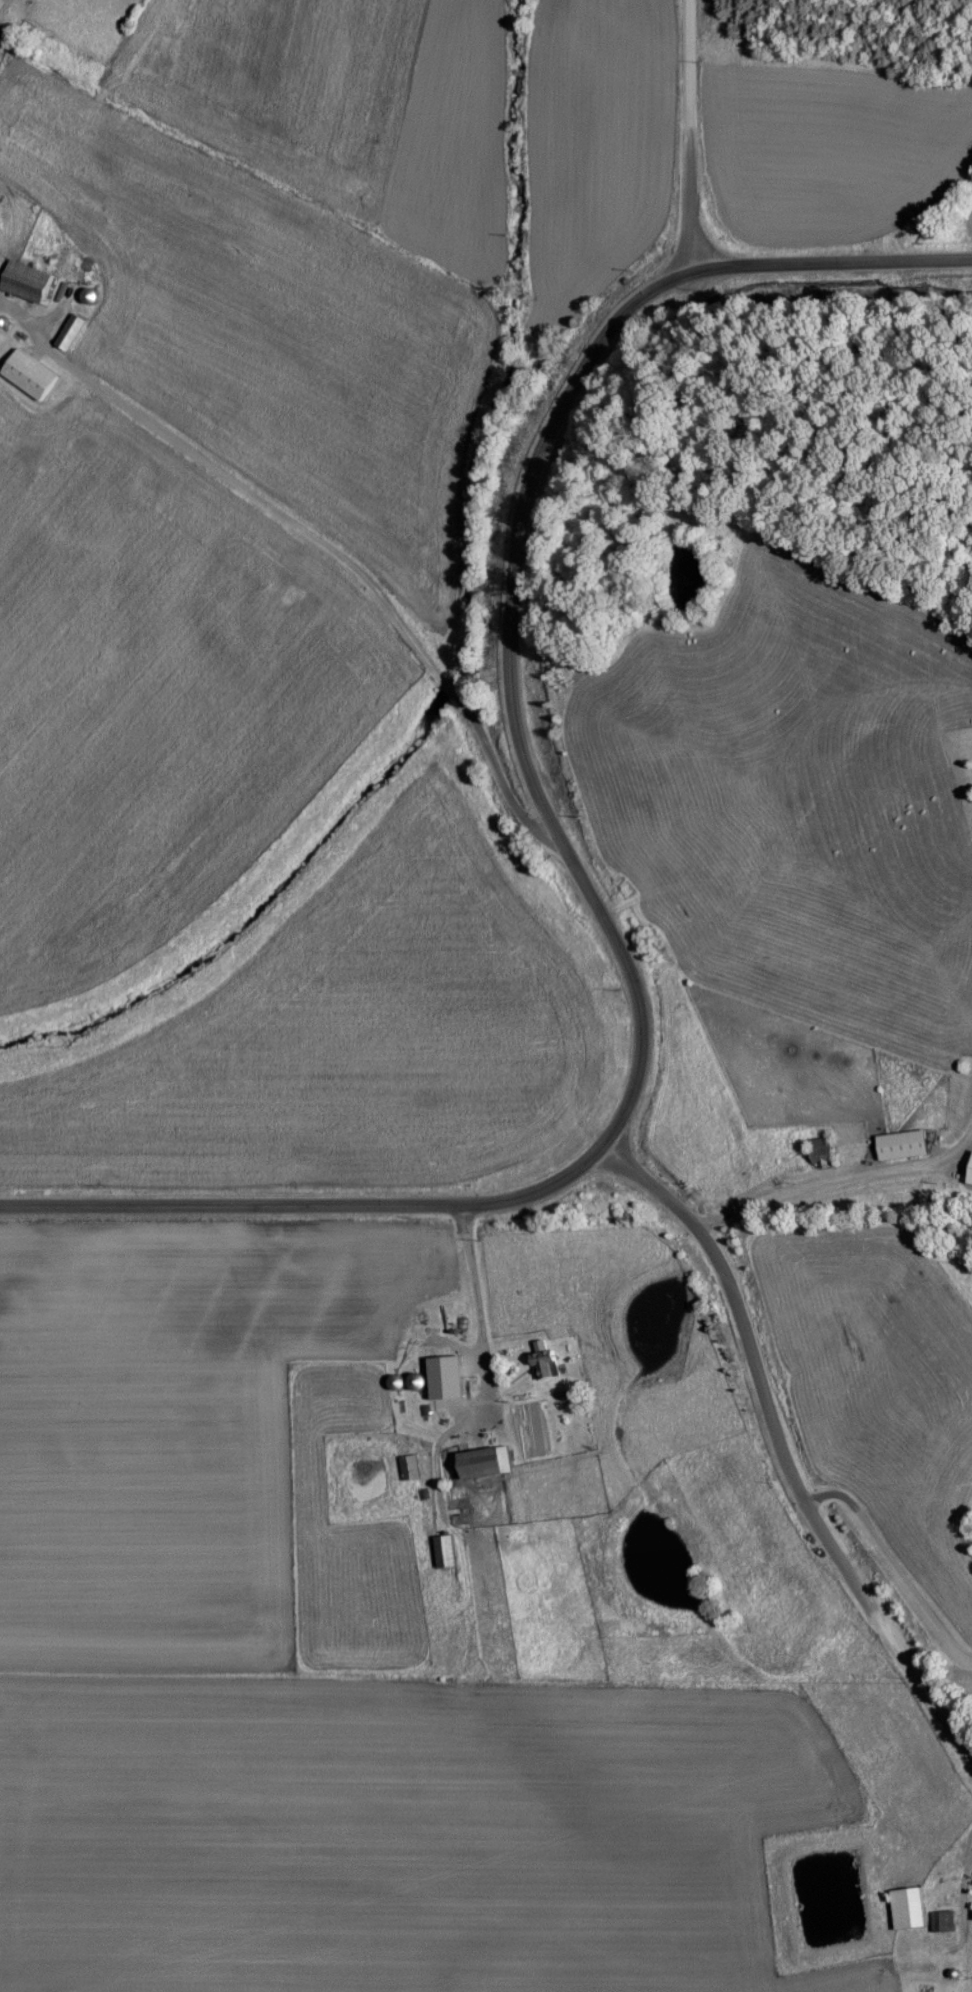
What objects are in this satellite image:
road: (684, 133)
building: (25, 281)
road: (27, 327)
building: (68, 331)
building: (27, 375)
road: (515, 553)
road: (350, 565)
building: (900, 1144)
building: (820, 1151)
road: (839, 1179)
road: (308, 1204)
road: (477, 1305)
building: (542, 1358)
building: (440, 1369)
building: (415, 1380)
building: (395, 1381)
road: (782, 1455)
building: (478, 1461)
building: (408, 1466)
building: (443, 1550)
road: (892, 1565)
building: (905, 1907)
building: (940, 1920)

